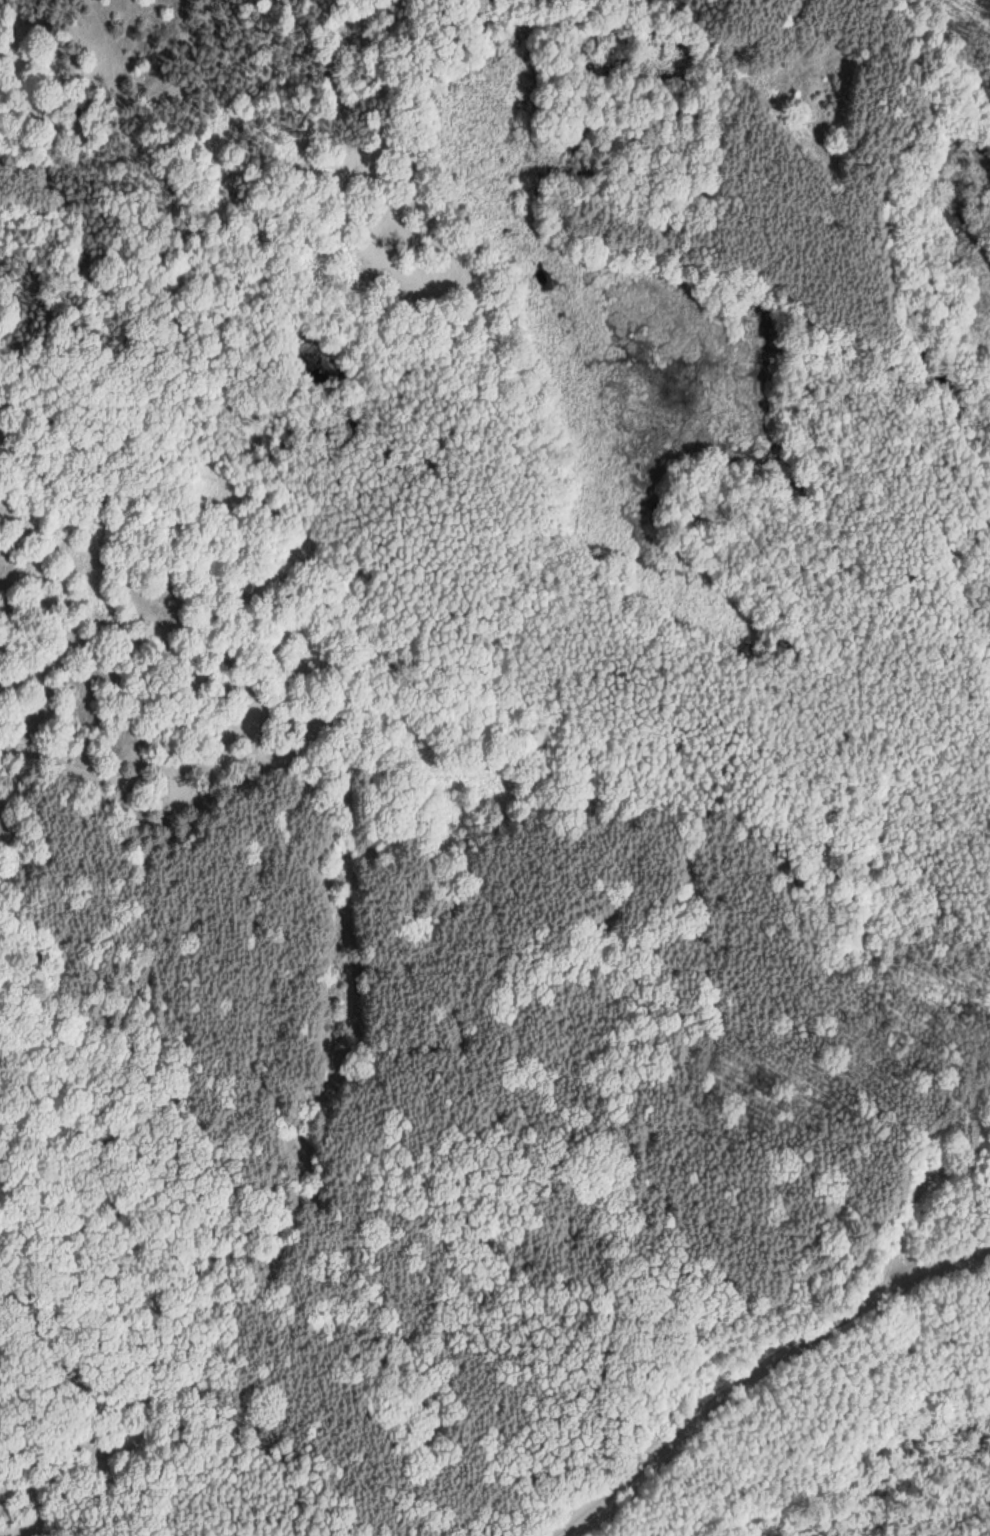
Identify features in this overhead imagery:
road: (739, 1358)

